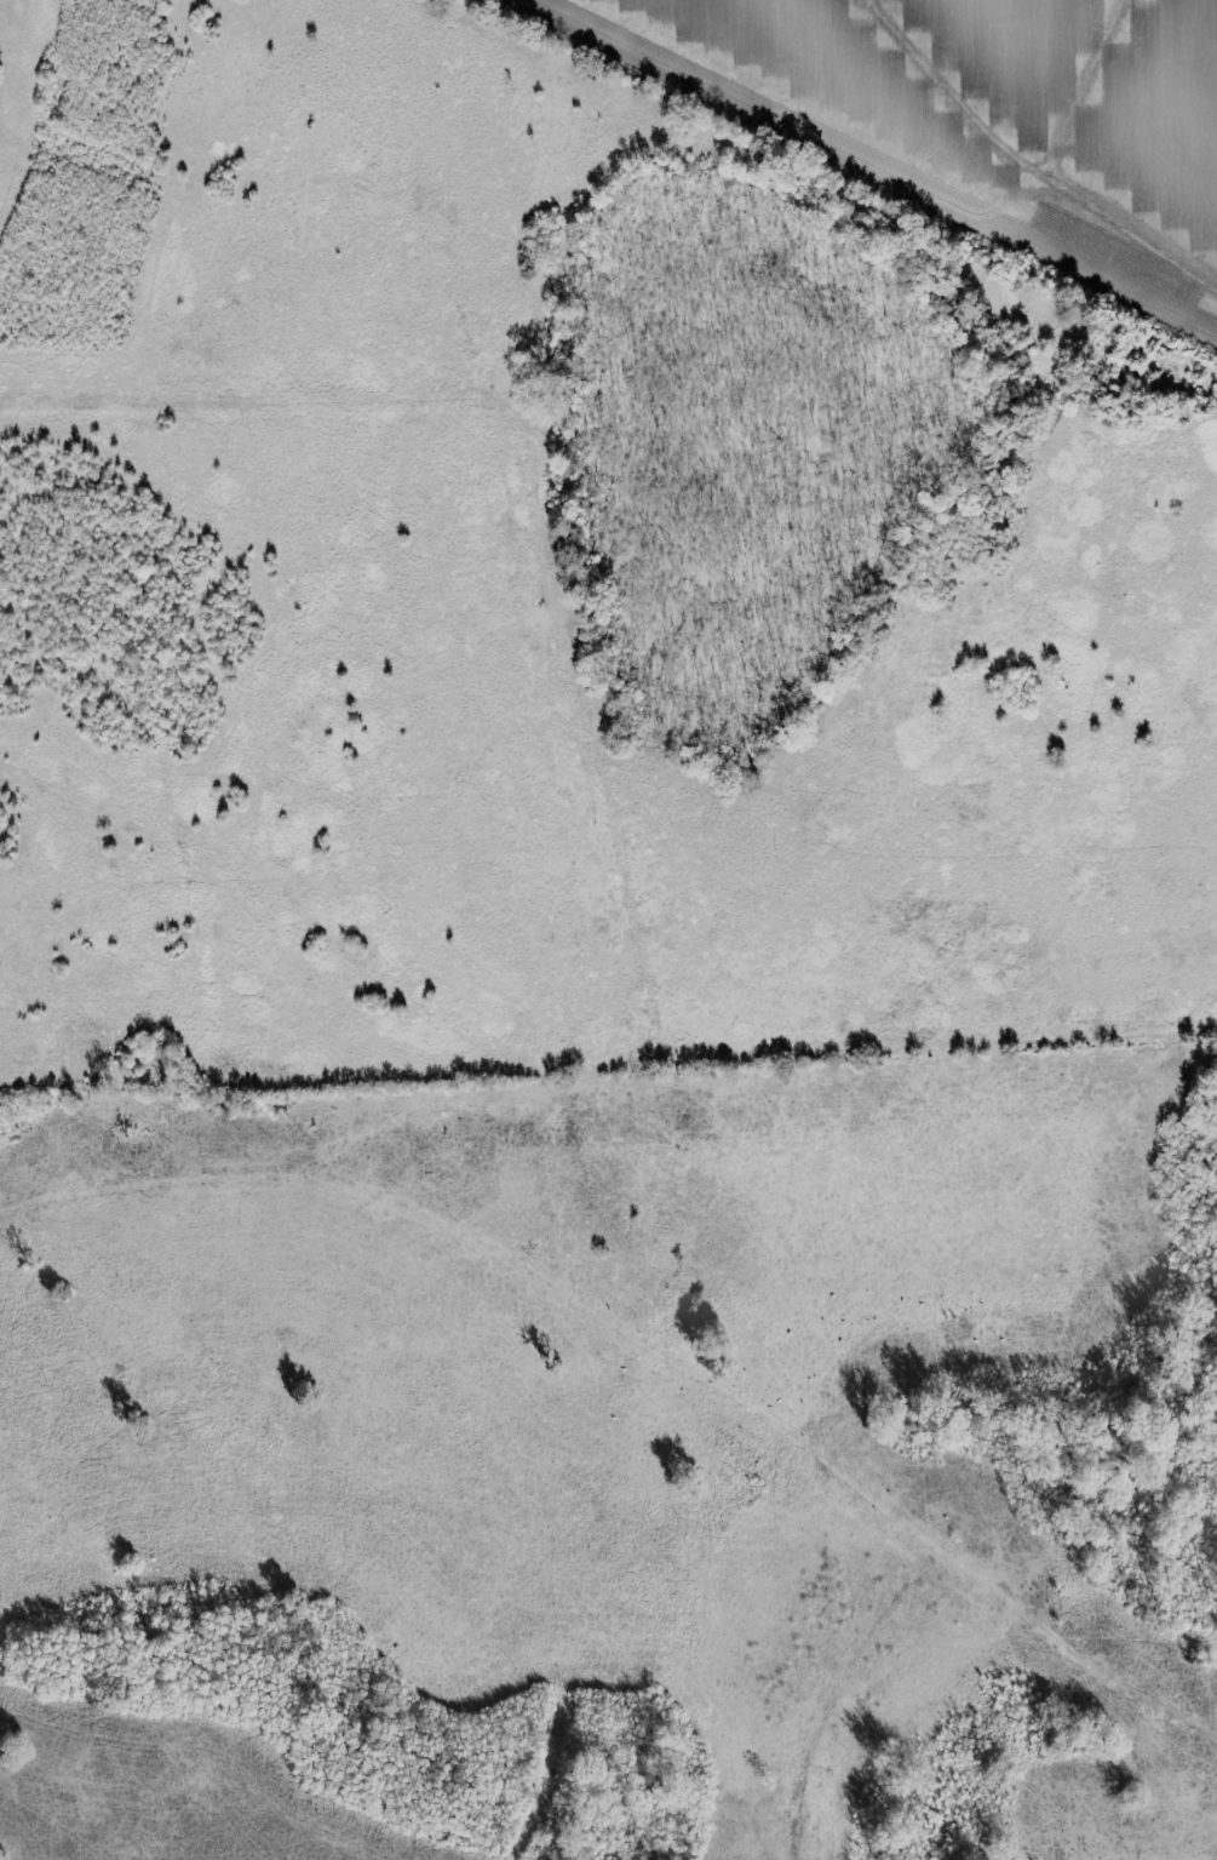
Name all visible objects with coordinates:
road: (585, 195)

